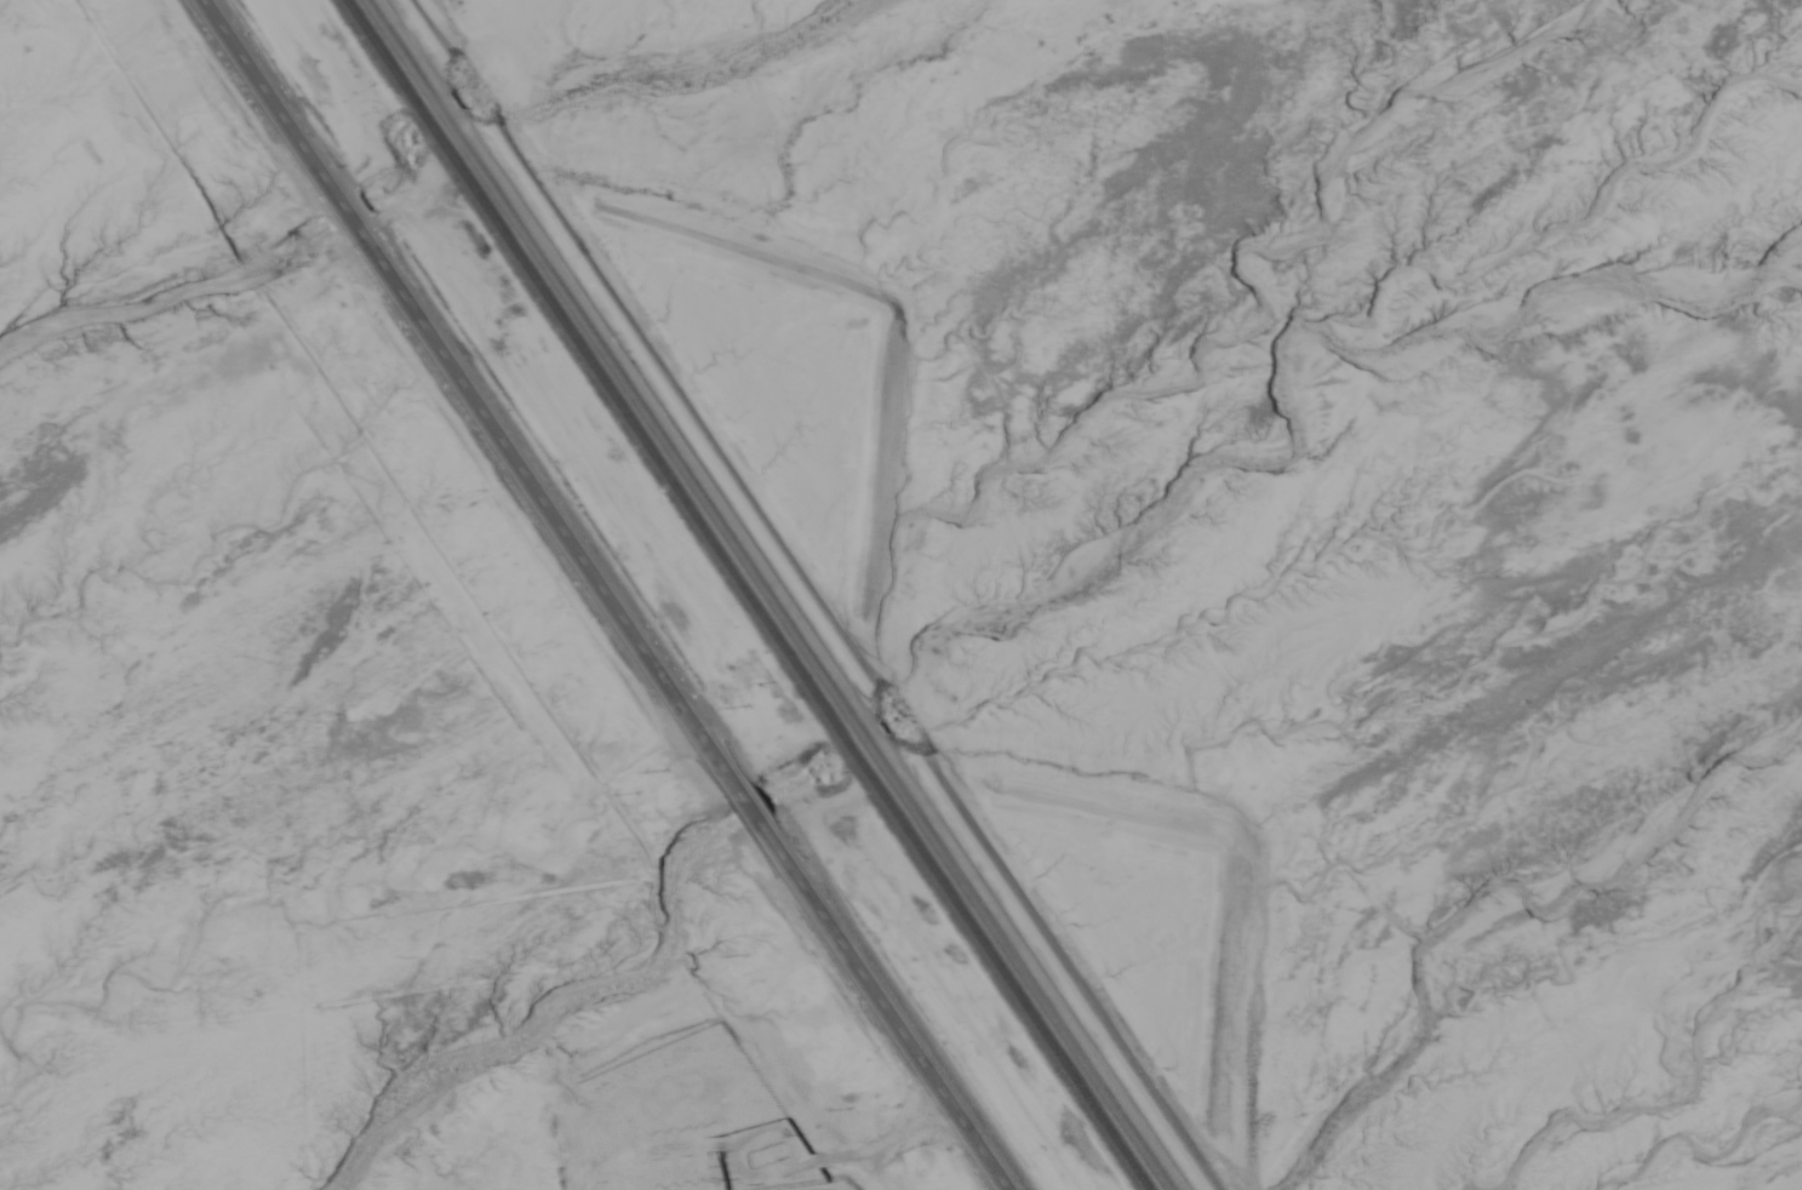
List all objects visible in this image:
railway: (776, 594)
road: (605, 595)
railway: (754, 595)
building: (770, 1155)

